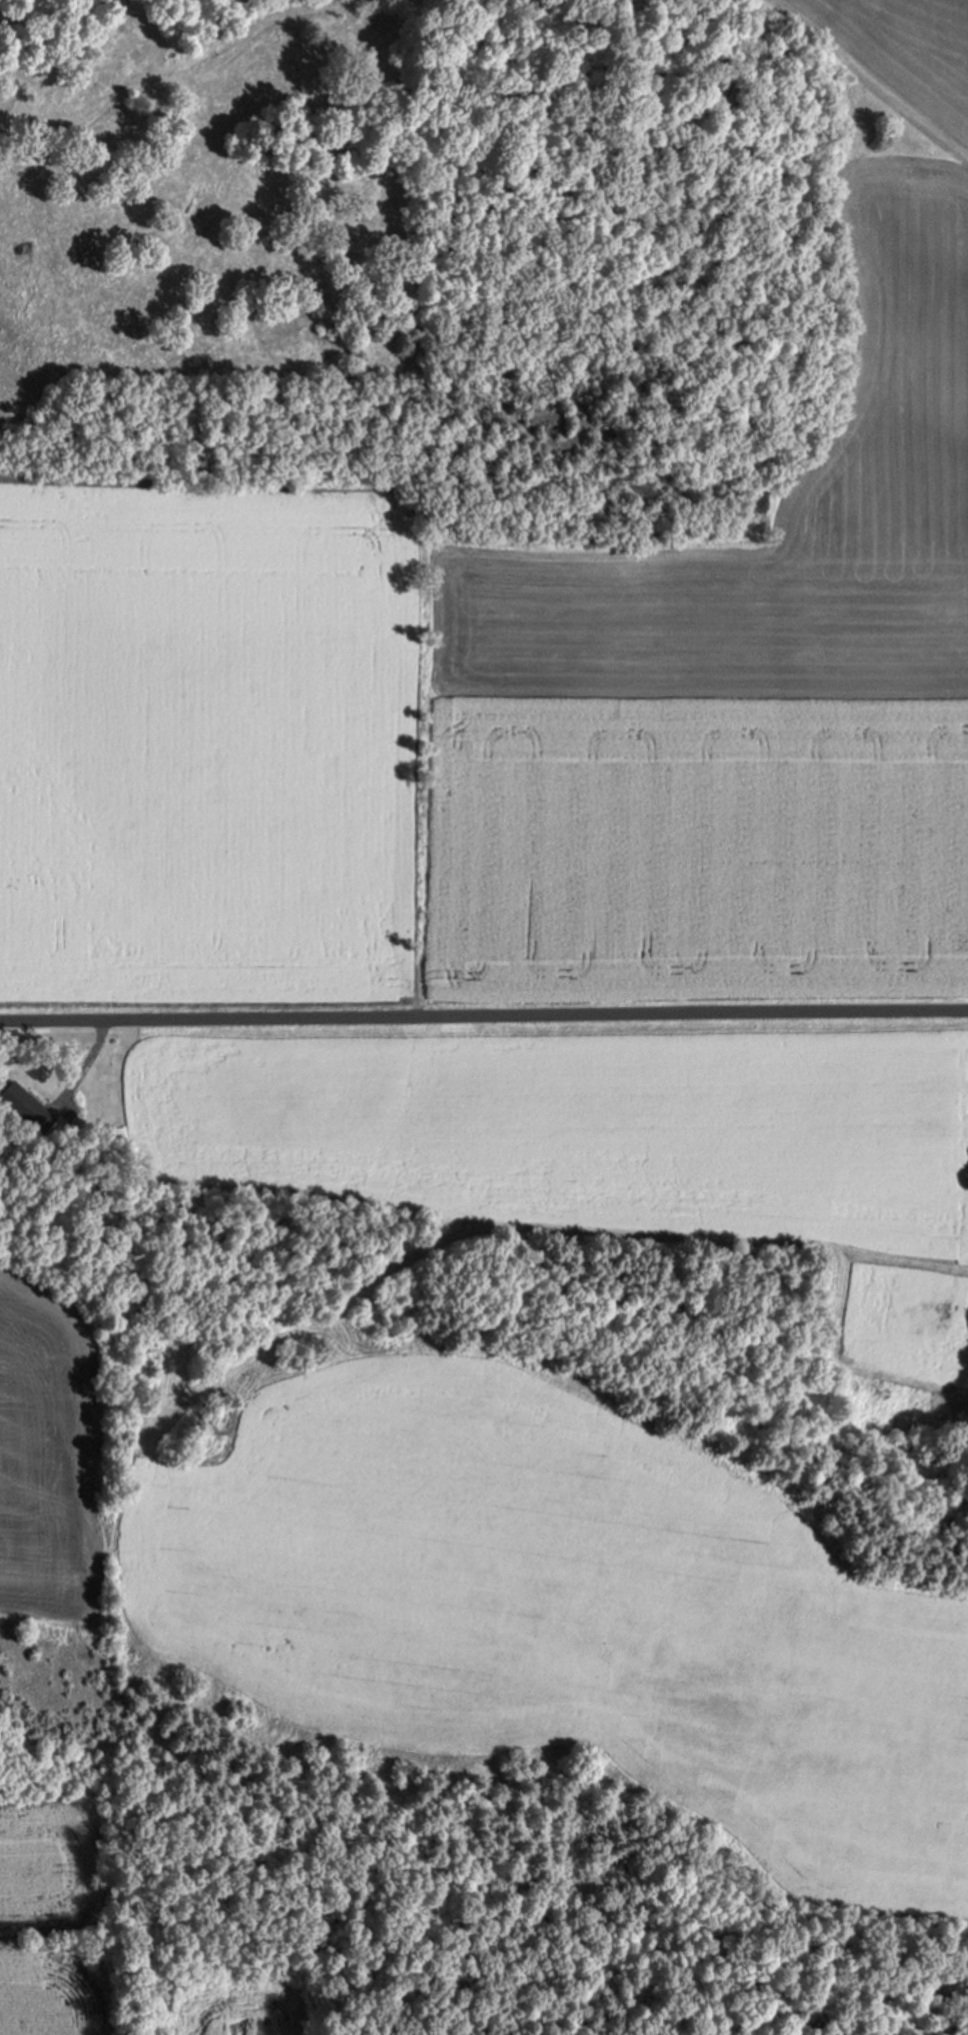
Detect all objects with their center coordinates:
road: (171, 75)
road: (11, 474)
road: (418, 758)
road: (483, 1016)
road: (87, 1066)
building: (30, 1107)
road: (4, 1656)

